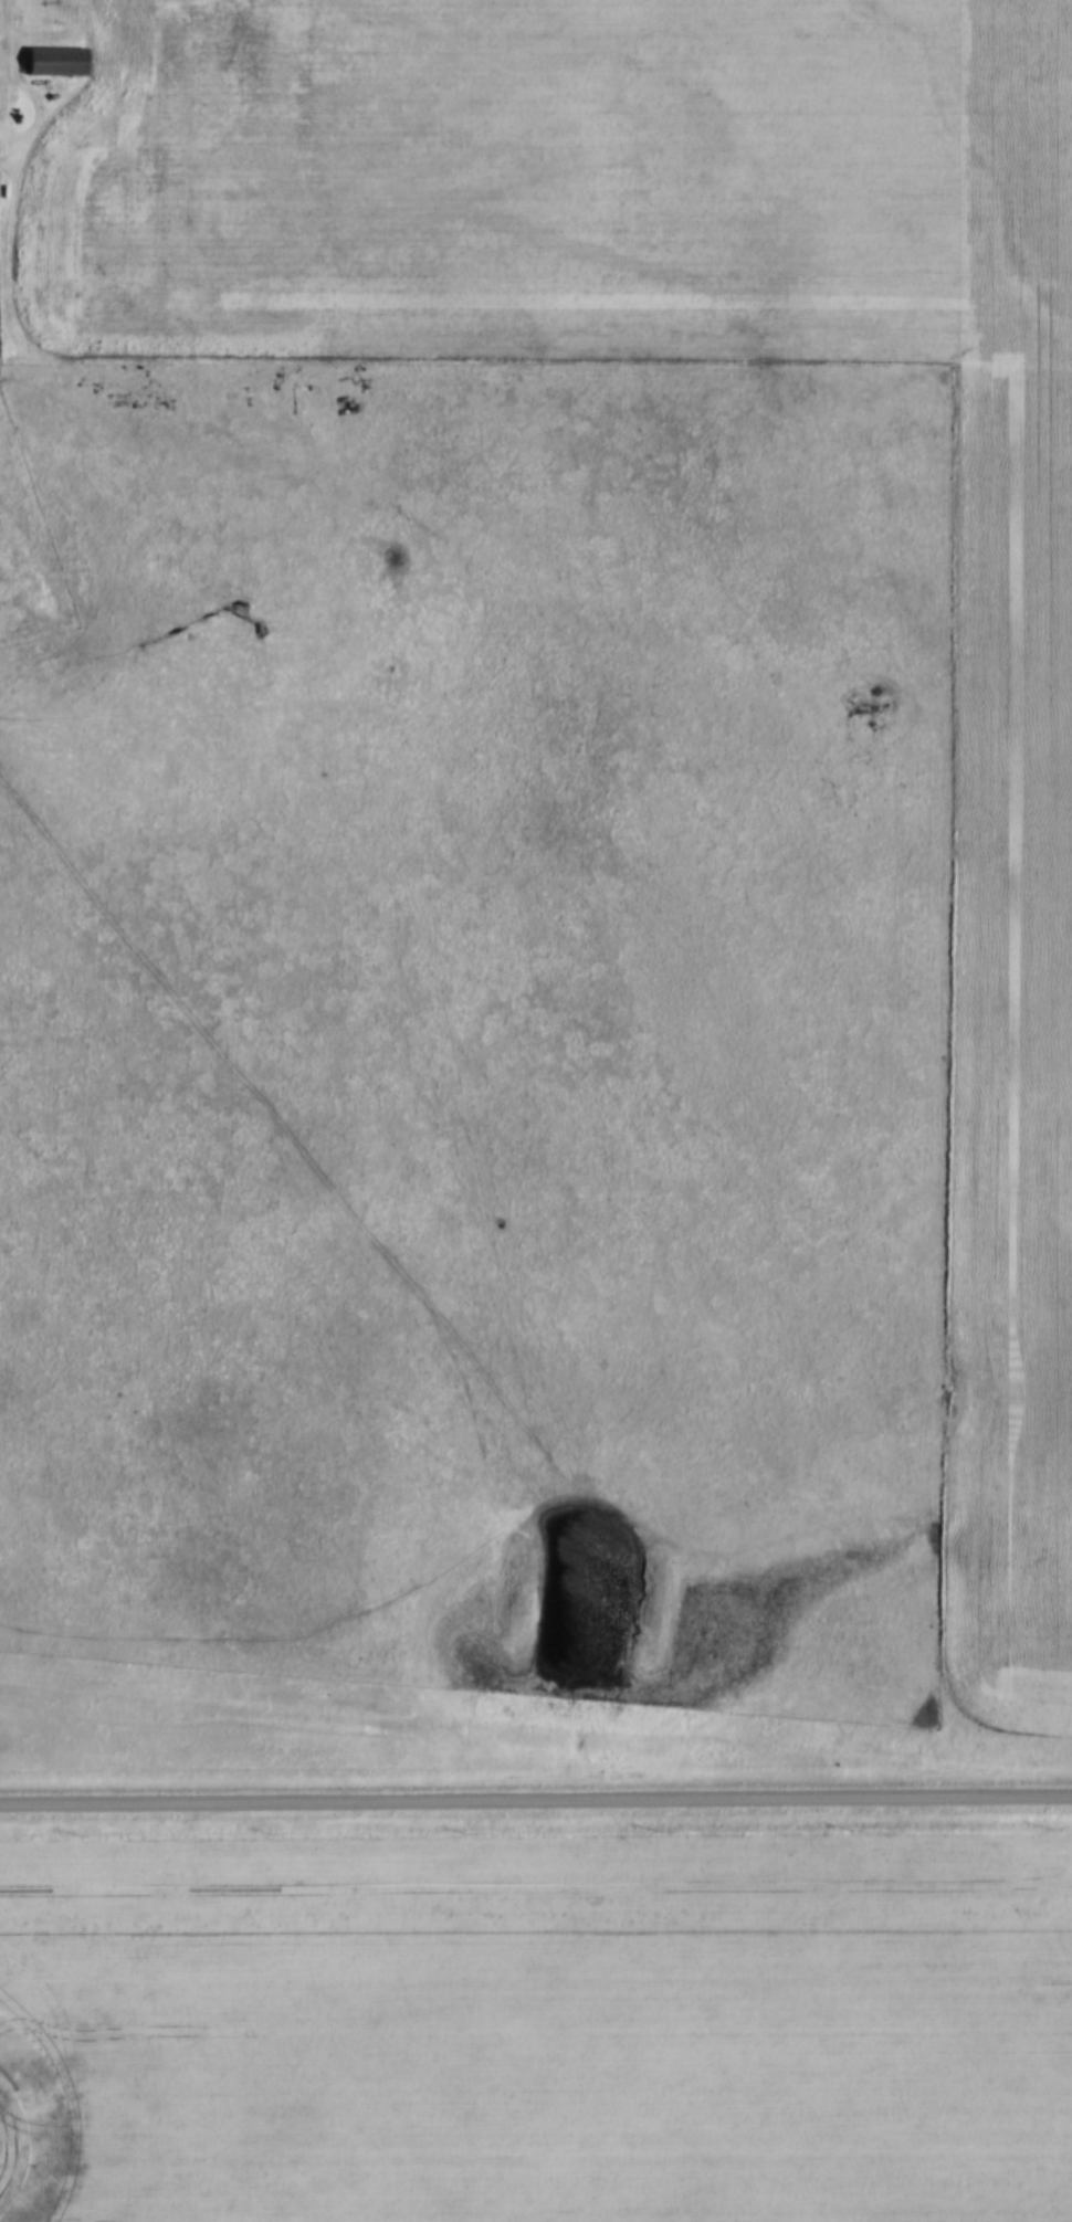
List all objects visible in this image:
building: (57, 60)
road: (536, 1812)

